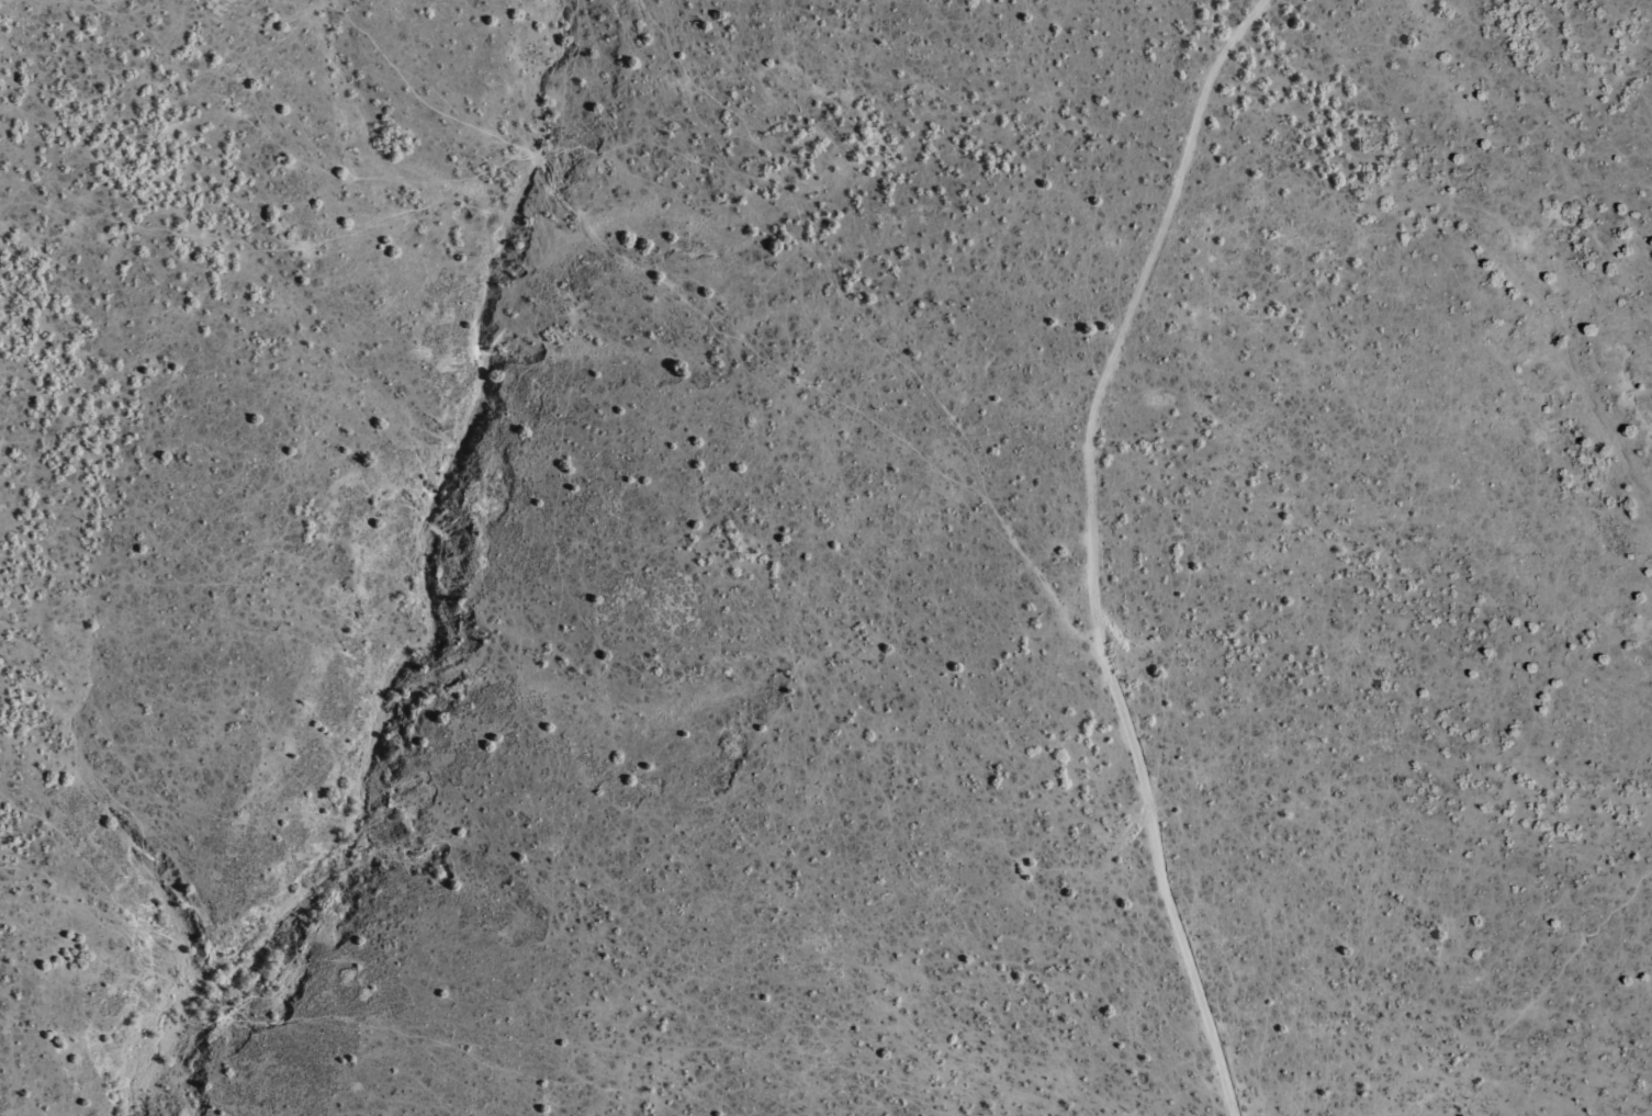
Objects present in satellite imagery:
road: (1085, 542)

